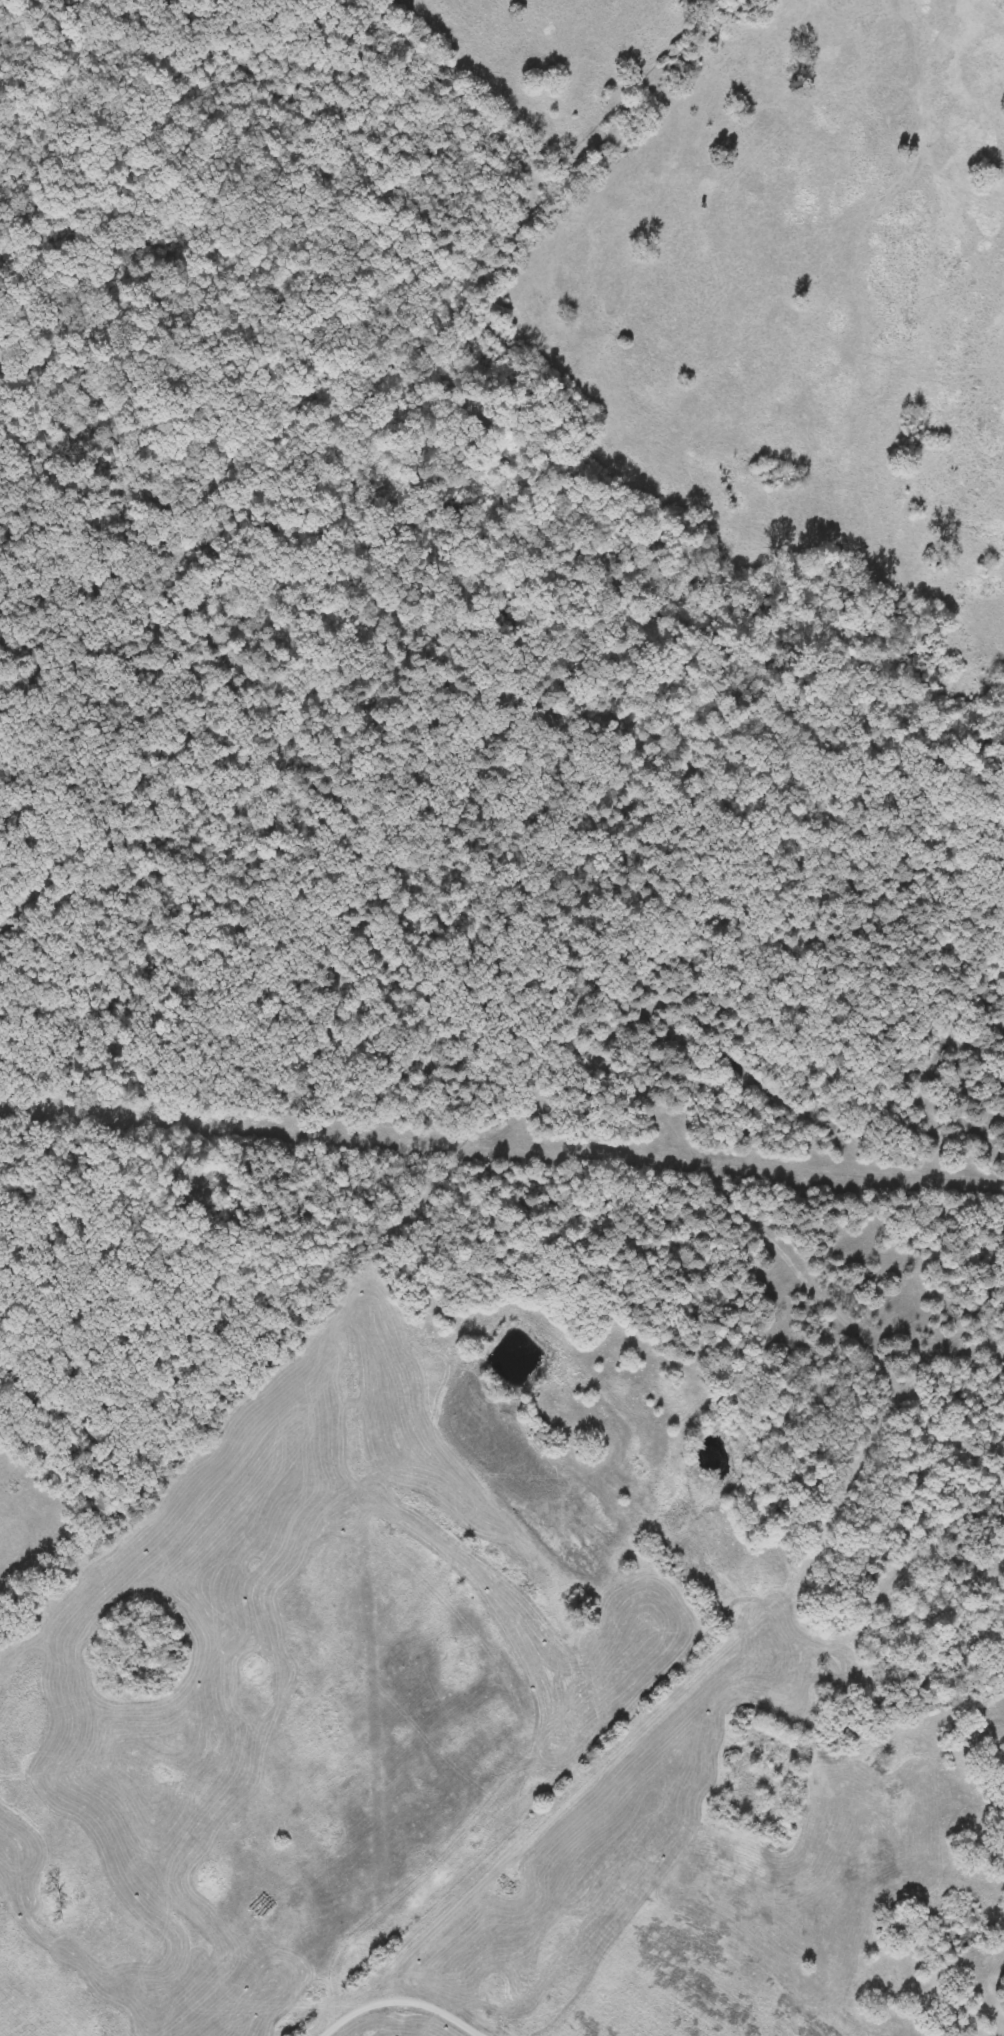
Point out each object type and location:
road: (907, 8)
road: (404, 1997)

